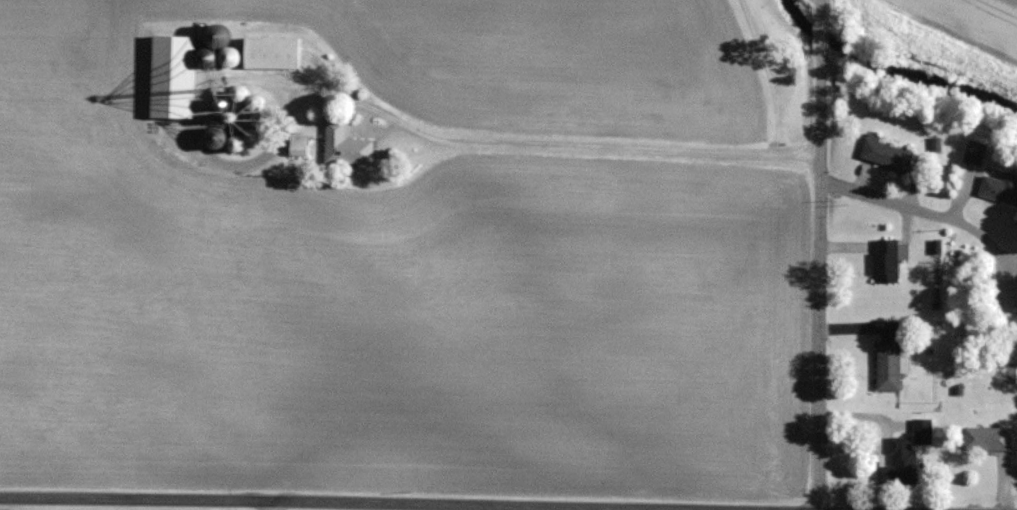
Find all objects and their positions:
crop: (975, 21)
road: (544, 148)
road: (890, 200)
road: (985, 238)
crop: (396, 248)
road: (817, 254)
road: (865, 419)
road: (860, 453)
road: (225, 505)
road: (263, 508)

